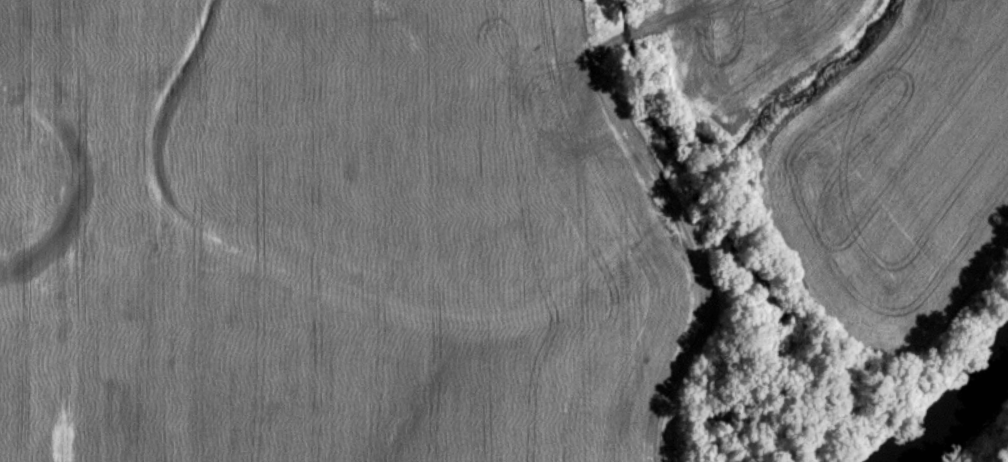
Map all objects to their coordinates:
river: (949, 395)

